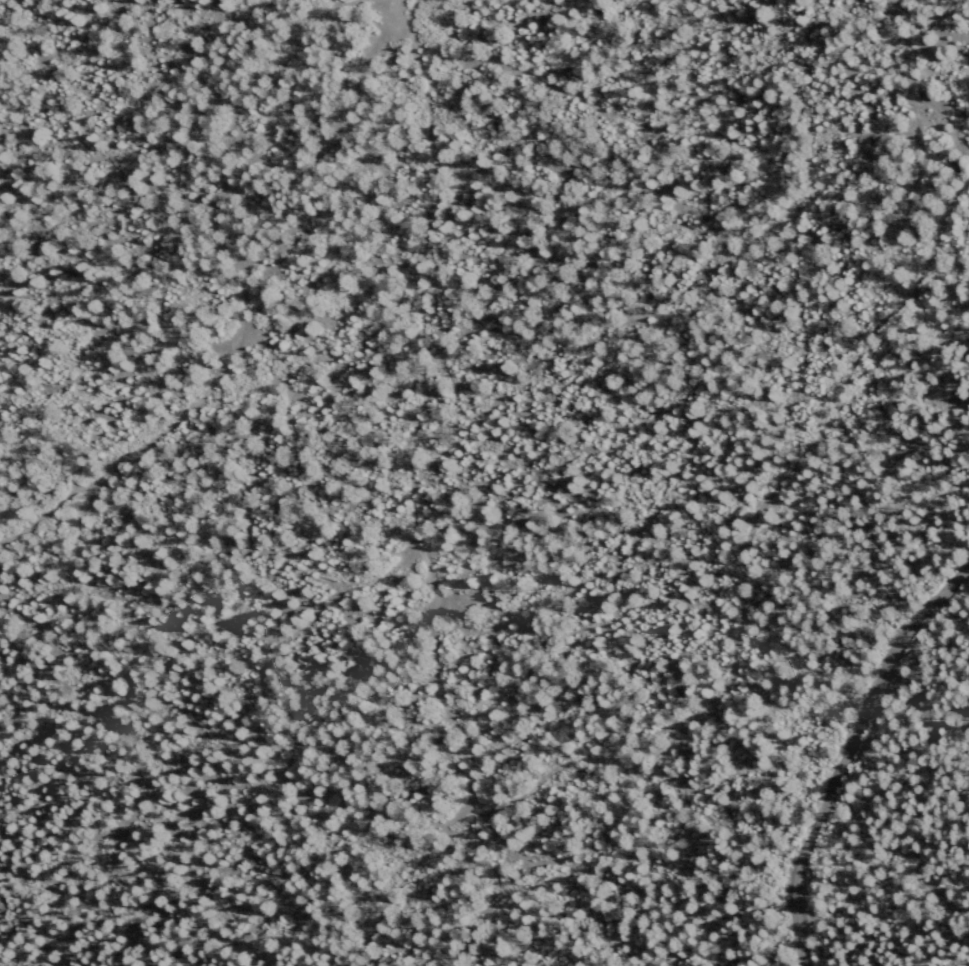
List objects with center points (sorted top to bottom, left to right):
road: (896, 555)

